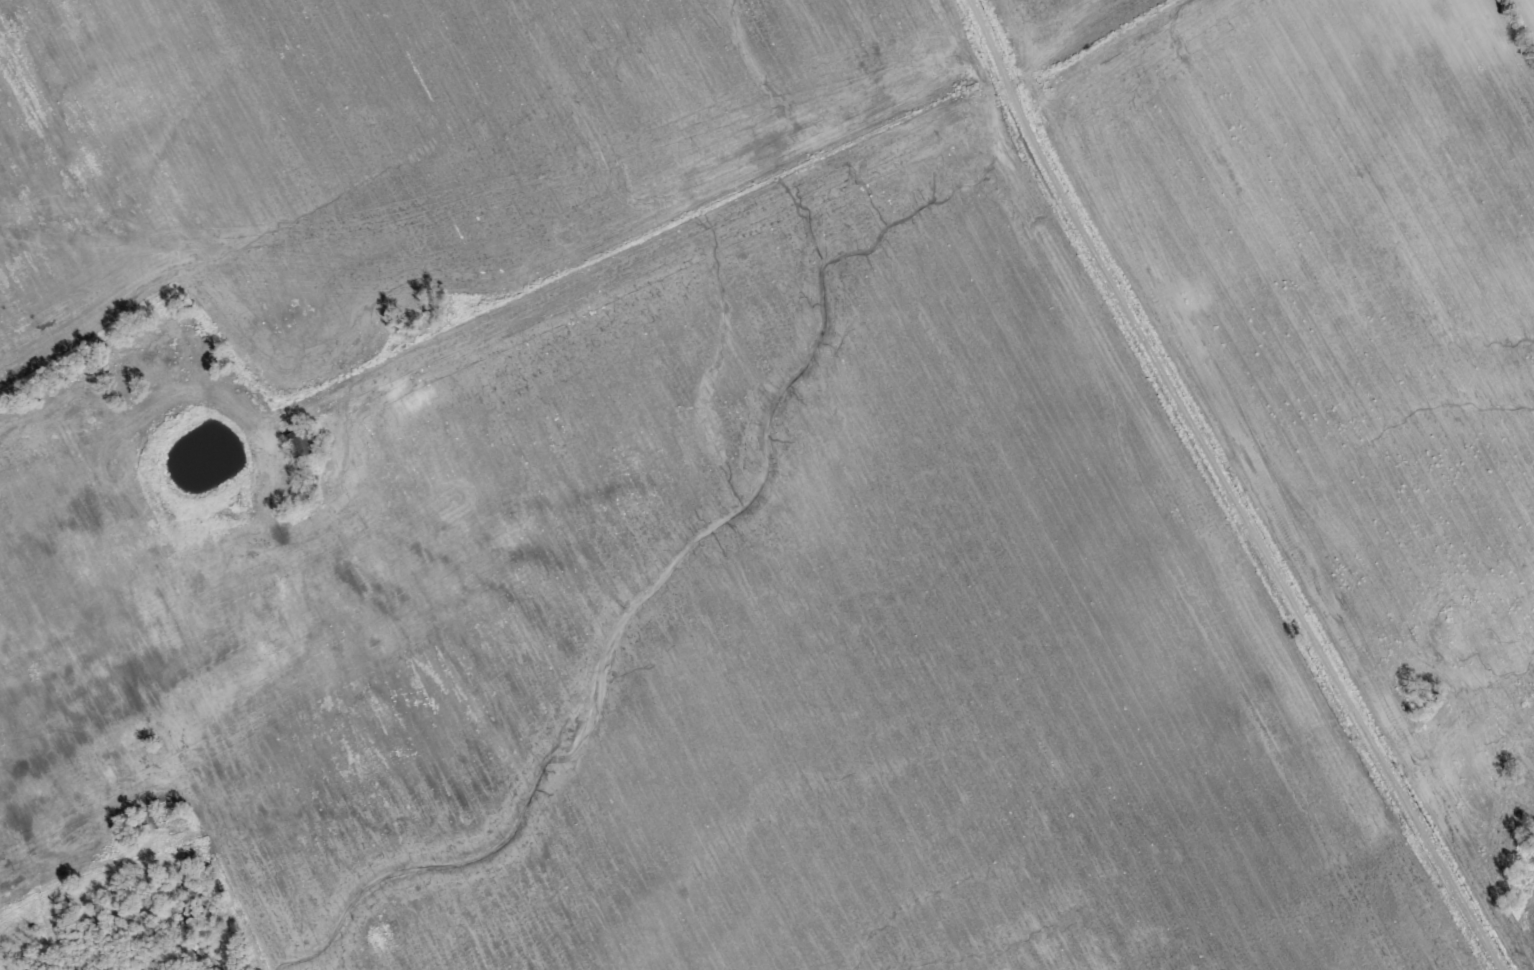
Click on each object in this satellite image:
building: (298, 442)
road: (1231, 488)

